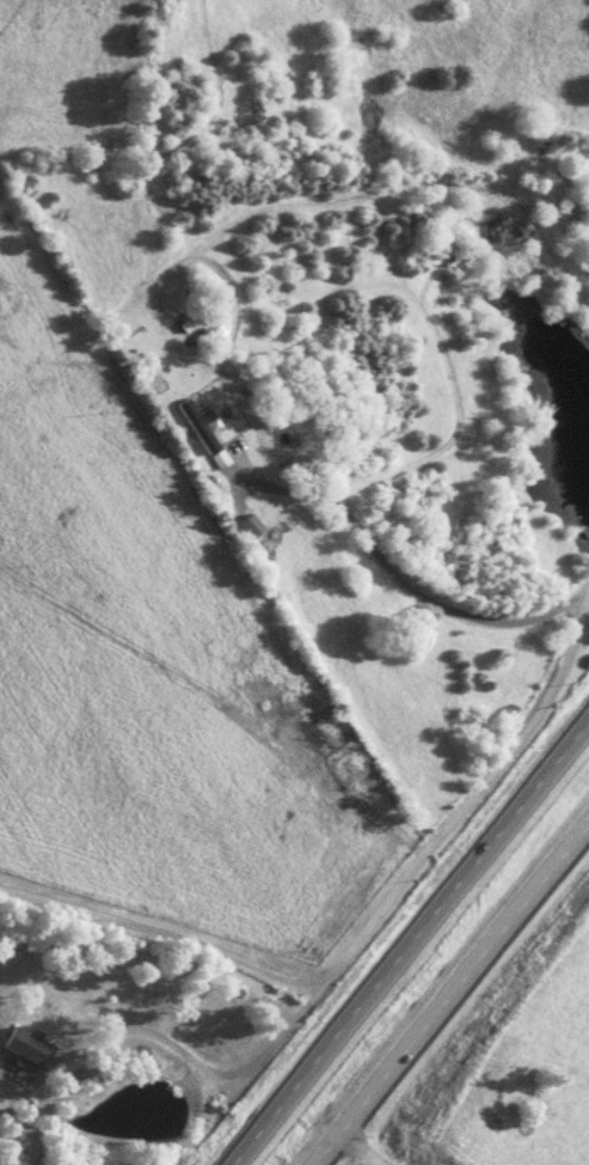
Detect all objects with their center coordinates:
building: (198, 422)
road: (424, 854)
road: (405, 938)
road: (454, 993)
building: (25, 1044)

